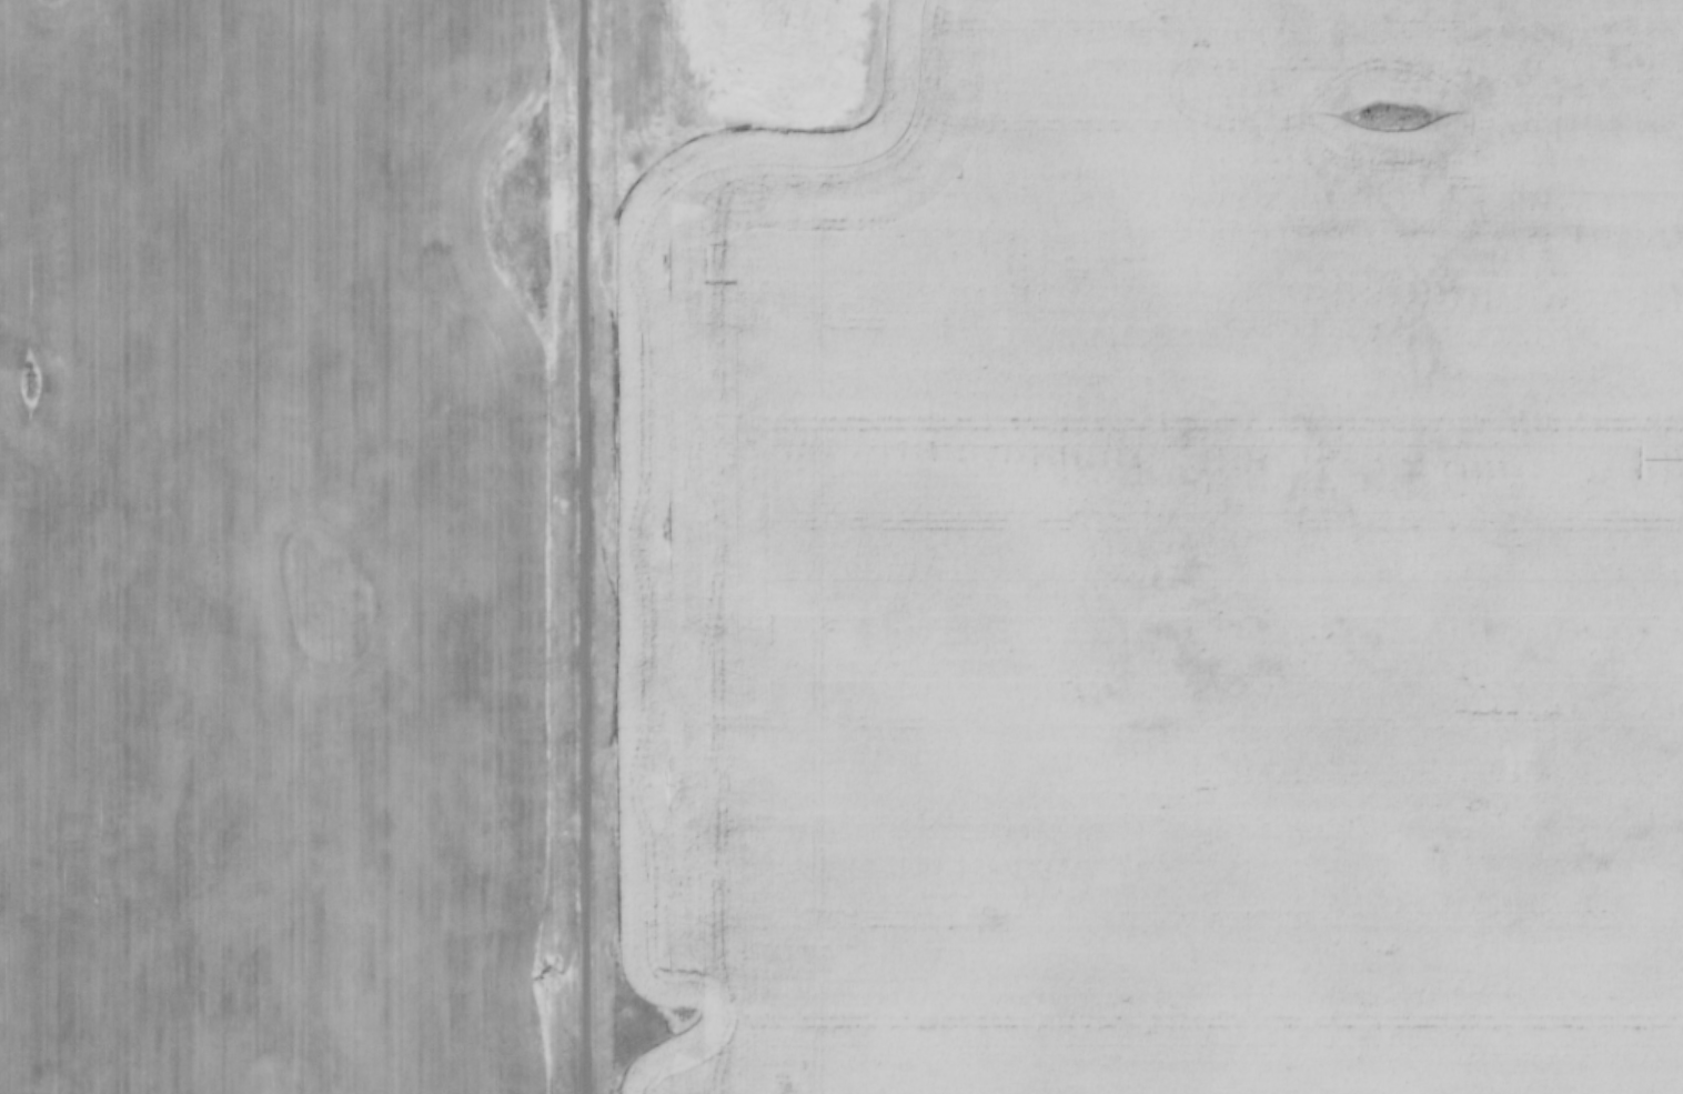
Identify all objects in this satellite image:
road: (587, 546)

